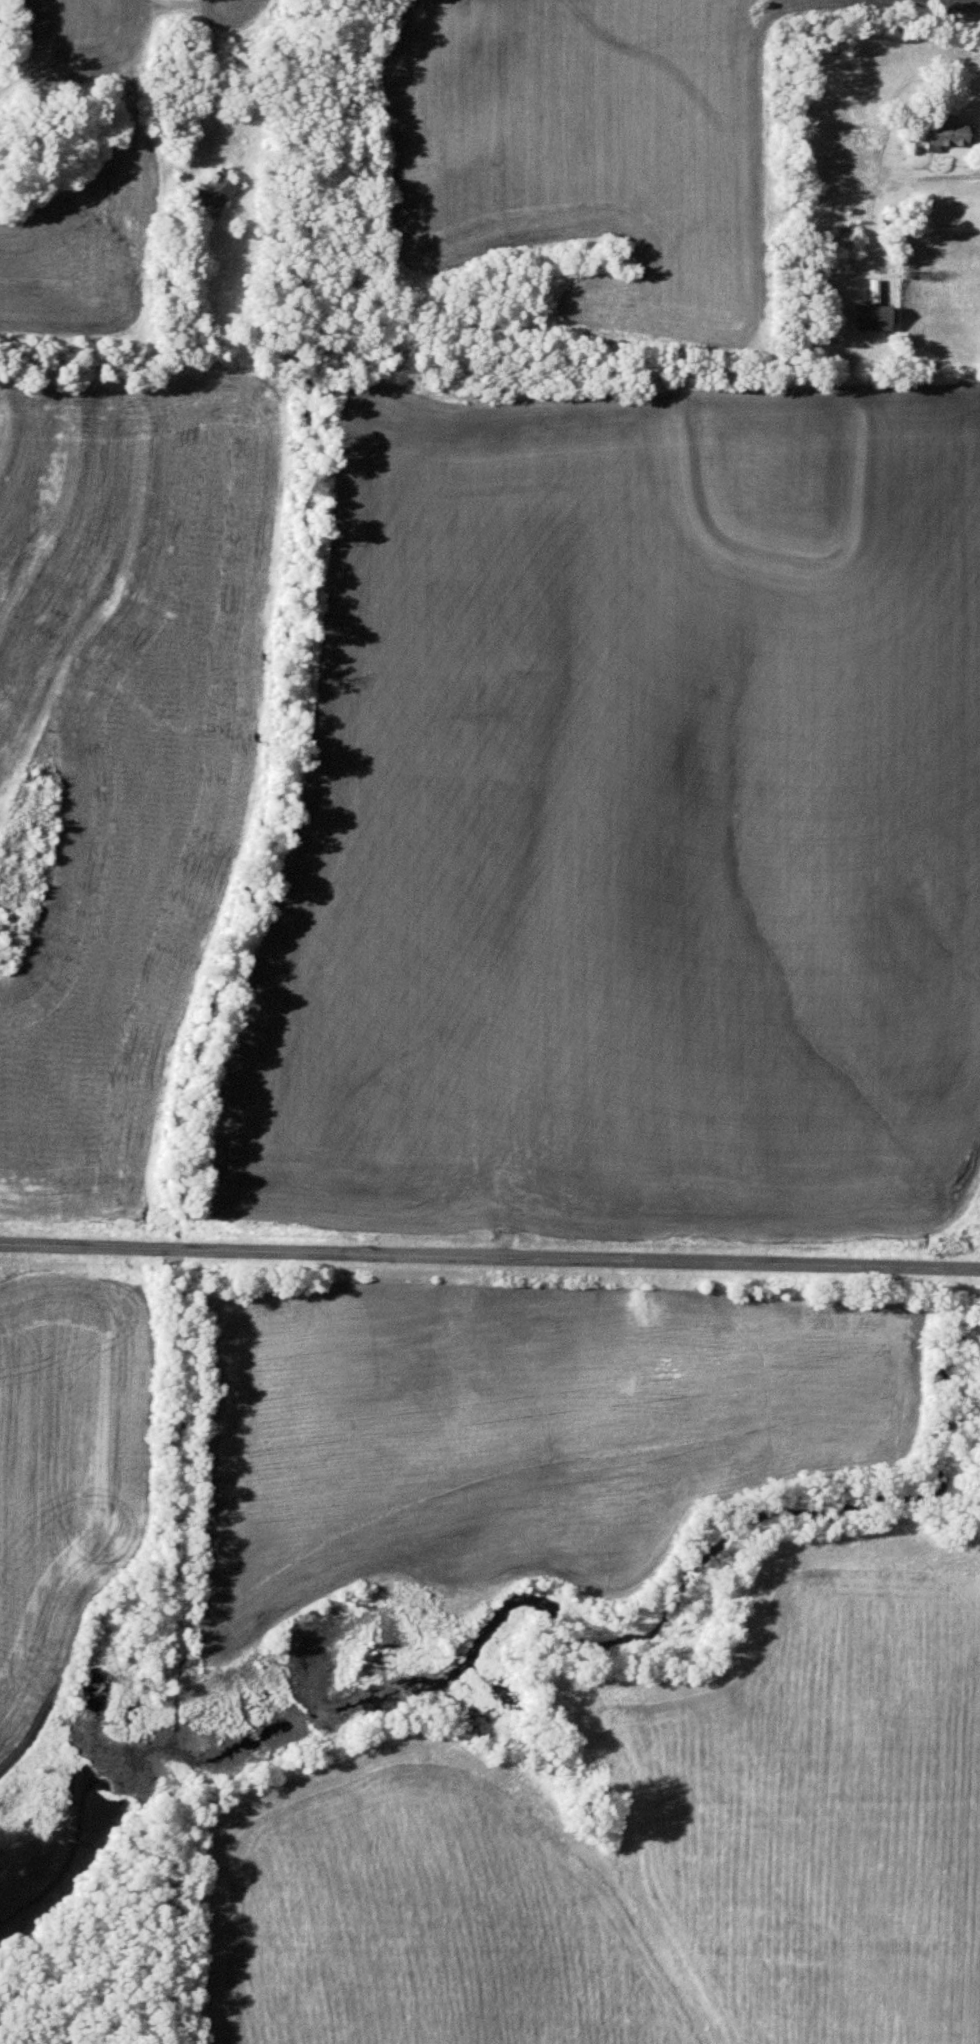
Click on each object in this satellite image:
building: (948, 134)
road: (937, 179)
building: (217, 187)
building: (873, 316)
road: (489, 1255)

